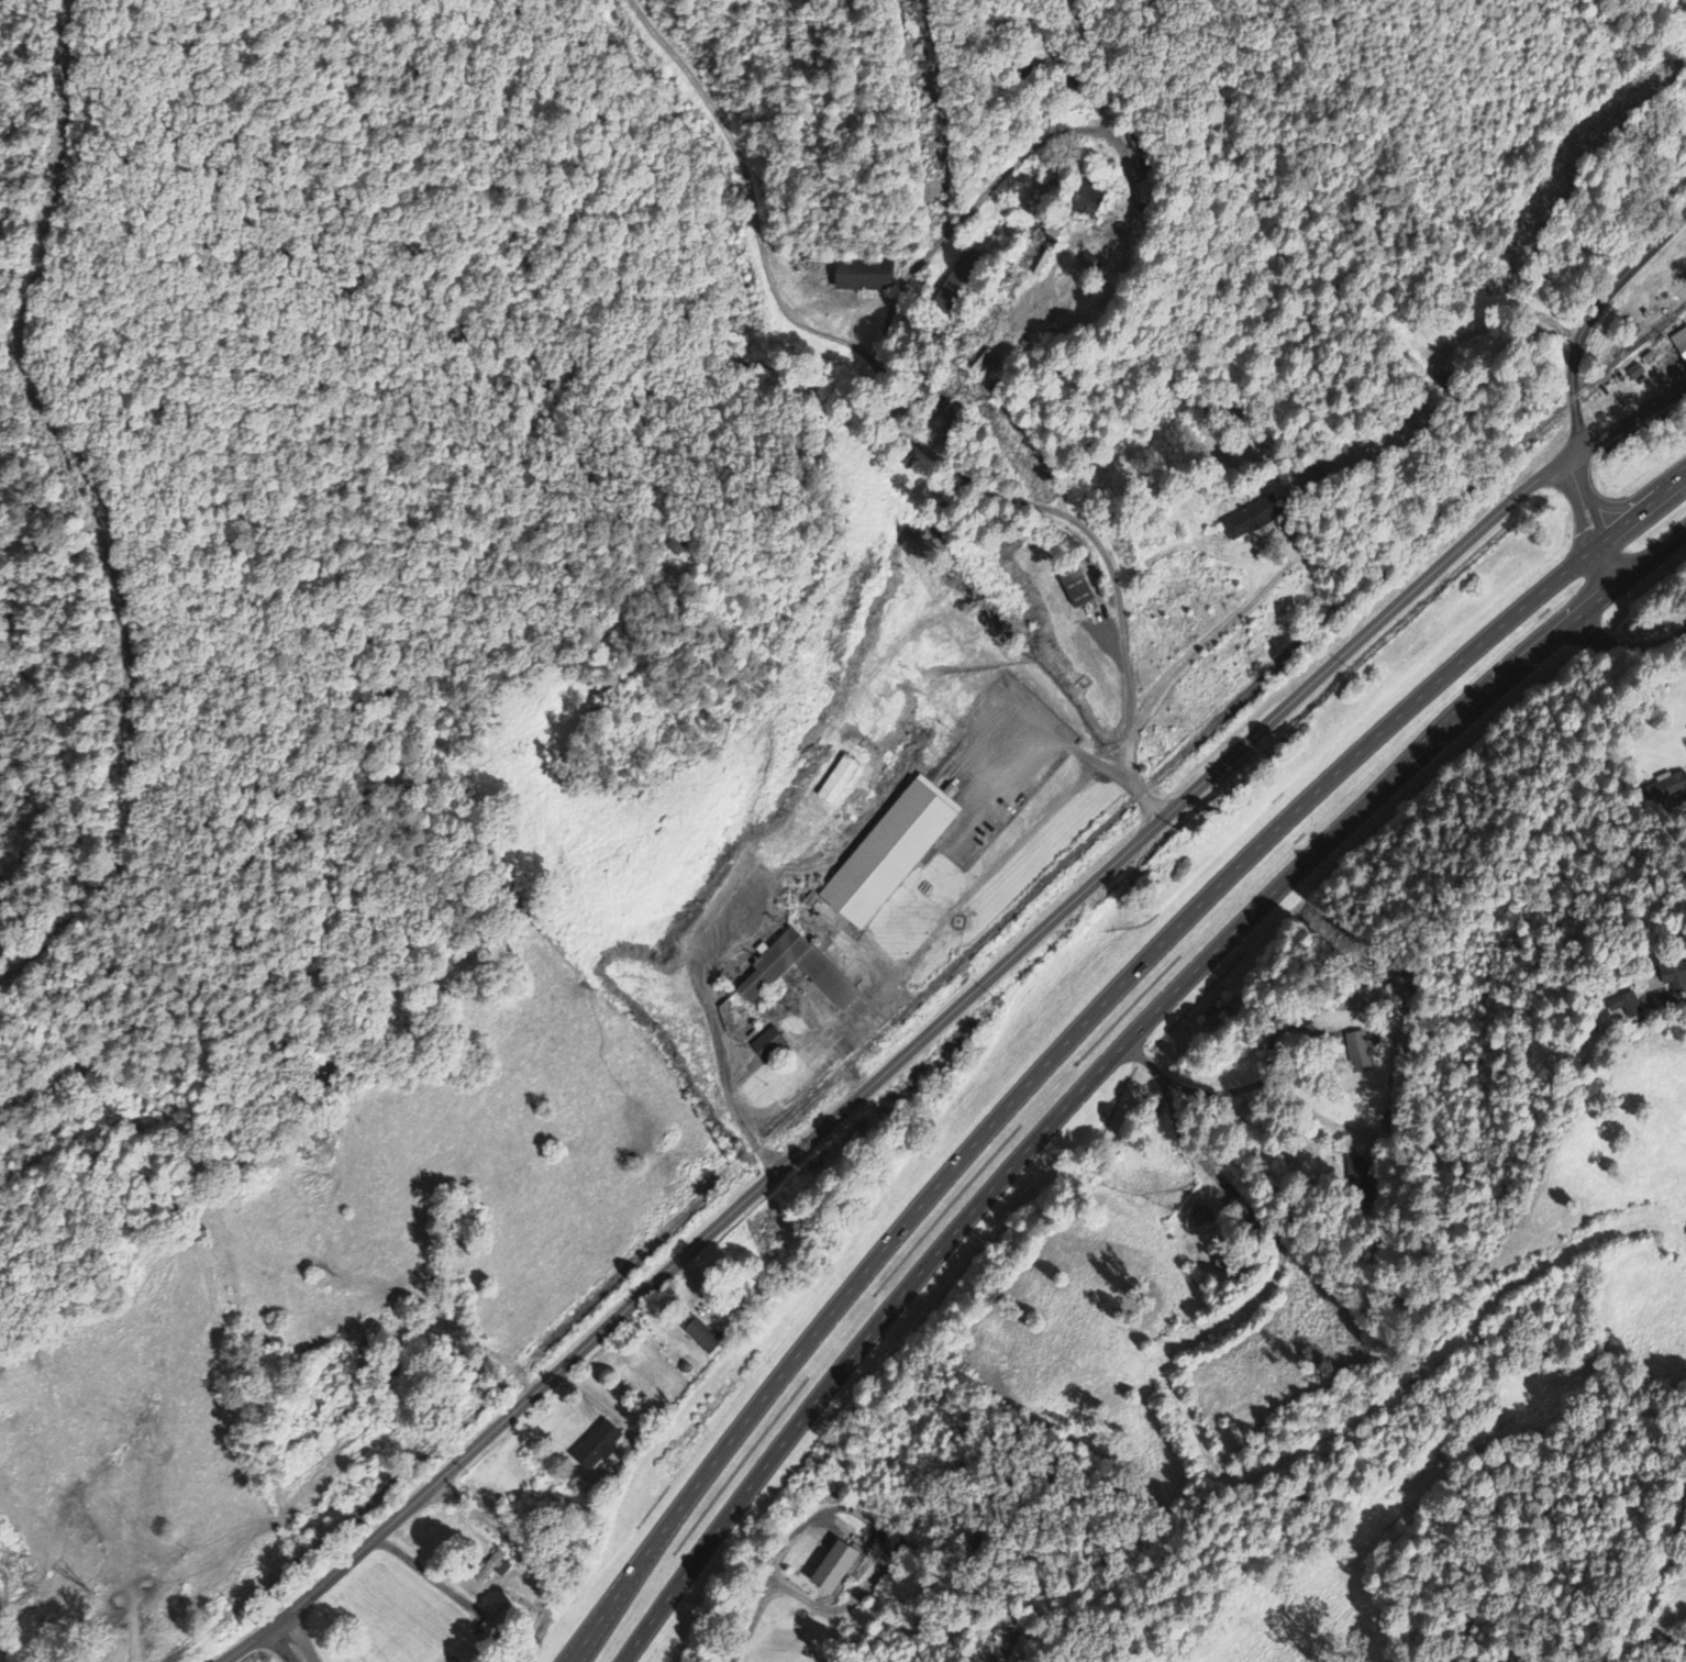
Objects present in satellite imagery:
road: (1650, 110)
building: (1073, 207)
road: (1593, 228)
road: (1367, 244)
building: (864, 277)
building: (956, 280)
road: (1591, 314)
building: (1678, 344)
road: (1632, 416)
building: (1247, 522)
road: (1106, 549)
building: (1076, 588)
building: (836, 782)
building: (887, 854)
building: (768, 970)
building: (1667, 974)
railway: (929, 986)
building: (1616, 1007)
road: (952, 1010)
road: (721, 1017)
road: (1083, 1024)
building: (767, 1046)
road: (1113, 1056)
building: (697, 1334)
building: (594, 1448)
building: (828, 1571)
road: (138, 1622)
road: (295, 1642)

